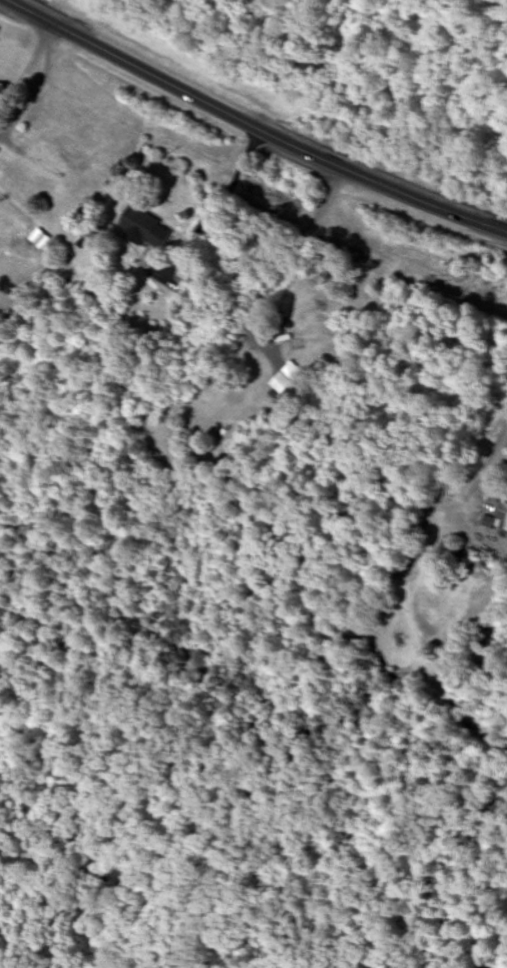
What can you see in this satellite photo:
road: (252, 126)
road: (141, 198)
building: (147, 229)
building: (38, 238)
building: (307, 332)
building: (287, 383)
building: (503, 518)
park: (228, 733)

